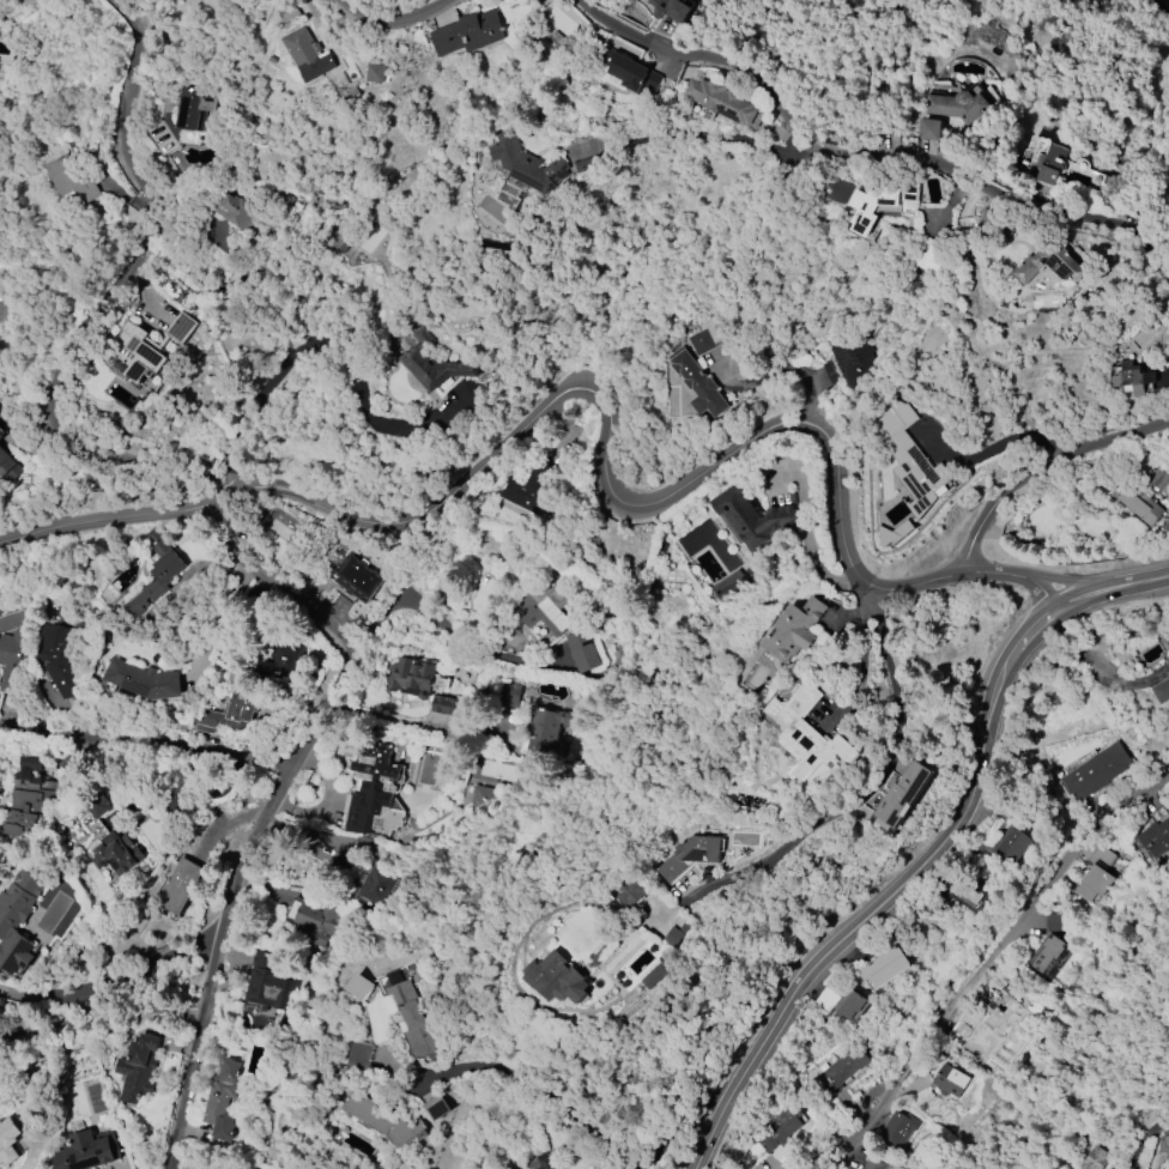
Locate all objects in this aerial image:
road: (1165, 2)
building: (670, 10)
building: (290, 12)
road: (390, 25)
building: (470, 32)
building: (310, 55)
building: (625, 71)
building: (375, 72)
building: (722, 102)
building: (959, 104)
building: (193, 108)
building: (929, 129)
road: (864, 157)
building: (528, 164)
building: (587, 164)
building: (1050, 164)
building: (73, 178)
building: (877, 206)
building: (235, 211)
building: (365, 248)
building: (927, 258)
building: (1048, 264)
road: (103, 303)
building: (701, 343)
building: (144, 350)
building: (431, 363)
building: (848, 363)
road: (800, 367)
building: (1133, 377)
building: (698, 384)
building: (0, 428)
road: (1123, 436)
building: (0, 437)
road: (604, 443)
building: (910, 460)
building: (7, 465)
building: (526, 489)
road: (1003, 497)
building: (1146, 498)
building: (749, 519)
road: (122, 521)
building: (339, 565)
road: (965, 573)
building: (158, 575)
road: (1066, 580)
building: (725, 586)
building: (537, 611)
building: (794, 630)
building: (1167, 643)
building: (582, 650)
building: (568, 652)
building: (14, 659)
building: (59, 659)
building: (279, 664)
road: (862, 664)
building: (407, 678)
building: (145, 680)
building: (514, 684)
building: (1162, 691)
building: (441, 705)
building: (225, 714)
road: (382, 716)
building: (546, 729)
building: (526, 732)
building: (806, 734)
road: (144, 749)
building: (1096, 773)
building: (32, 788)
building: (375, 794)
building: (903, 794)
road: (277, 797)
road: (852, 798)
building: (97, 805)
building: (1155, 840)
building: (1010, 846)
building: (114, 854)
road: (931, 854)
building: (693, 855)
building: (1095, 874)
building: (177, 885)
building: (378, 888)
building: (629, 891)
building: (965, 892)
building: (17, 919)
building: (1054, 921)
building: (309, 922)
building: (1048, 955)
road: (985, 963)
building: (883, 967)
road: (129, 974)
building: (654, 976)
building: (558, 977)
building: (266, 985)
building: (362, 987)
building: (840, 1003)
building: (413, 1022)
road: (56, 1024)
building: (997, 1048)
building: (362, 1055)
building: (137, 1068)
building: (842, 1068)
building: (950, 1082)
building: (220, 1100)
building: (437, 1108)
building: (384, 1119)
building: (781, 1128)
building: (897, 1129)
building: (8, 1140)
building: (1164, 1144)
building: (86, 1152)
building: (1095, 1158)
building: (549, 1161)
building: (874, 1164)
road: (175, 1167)

